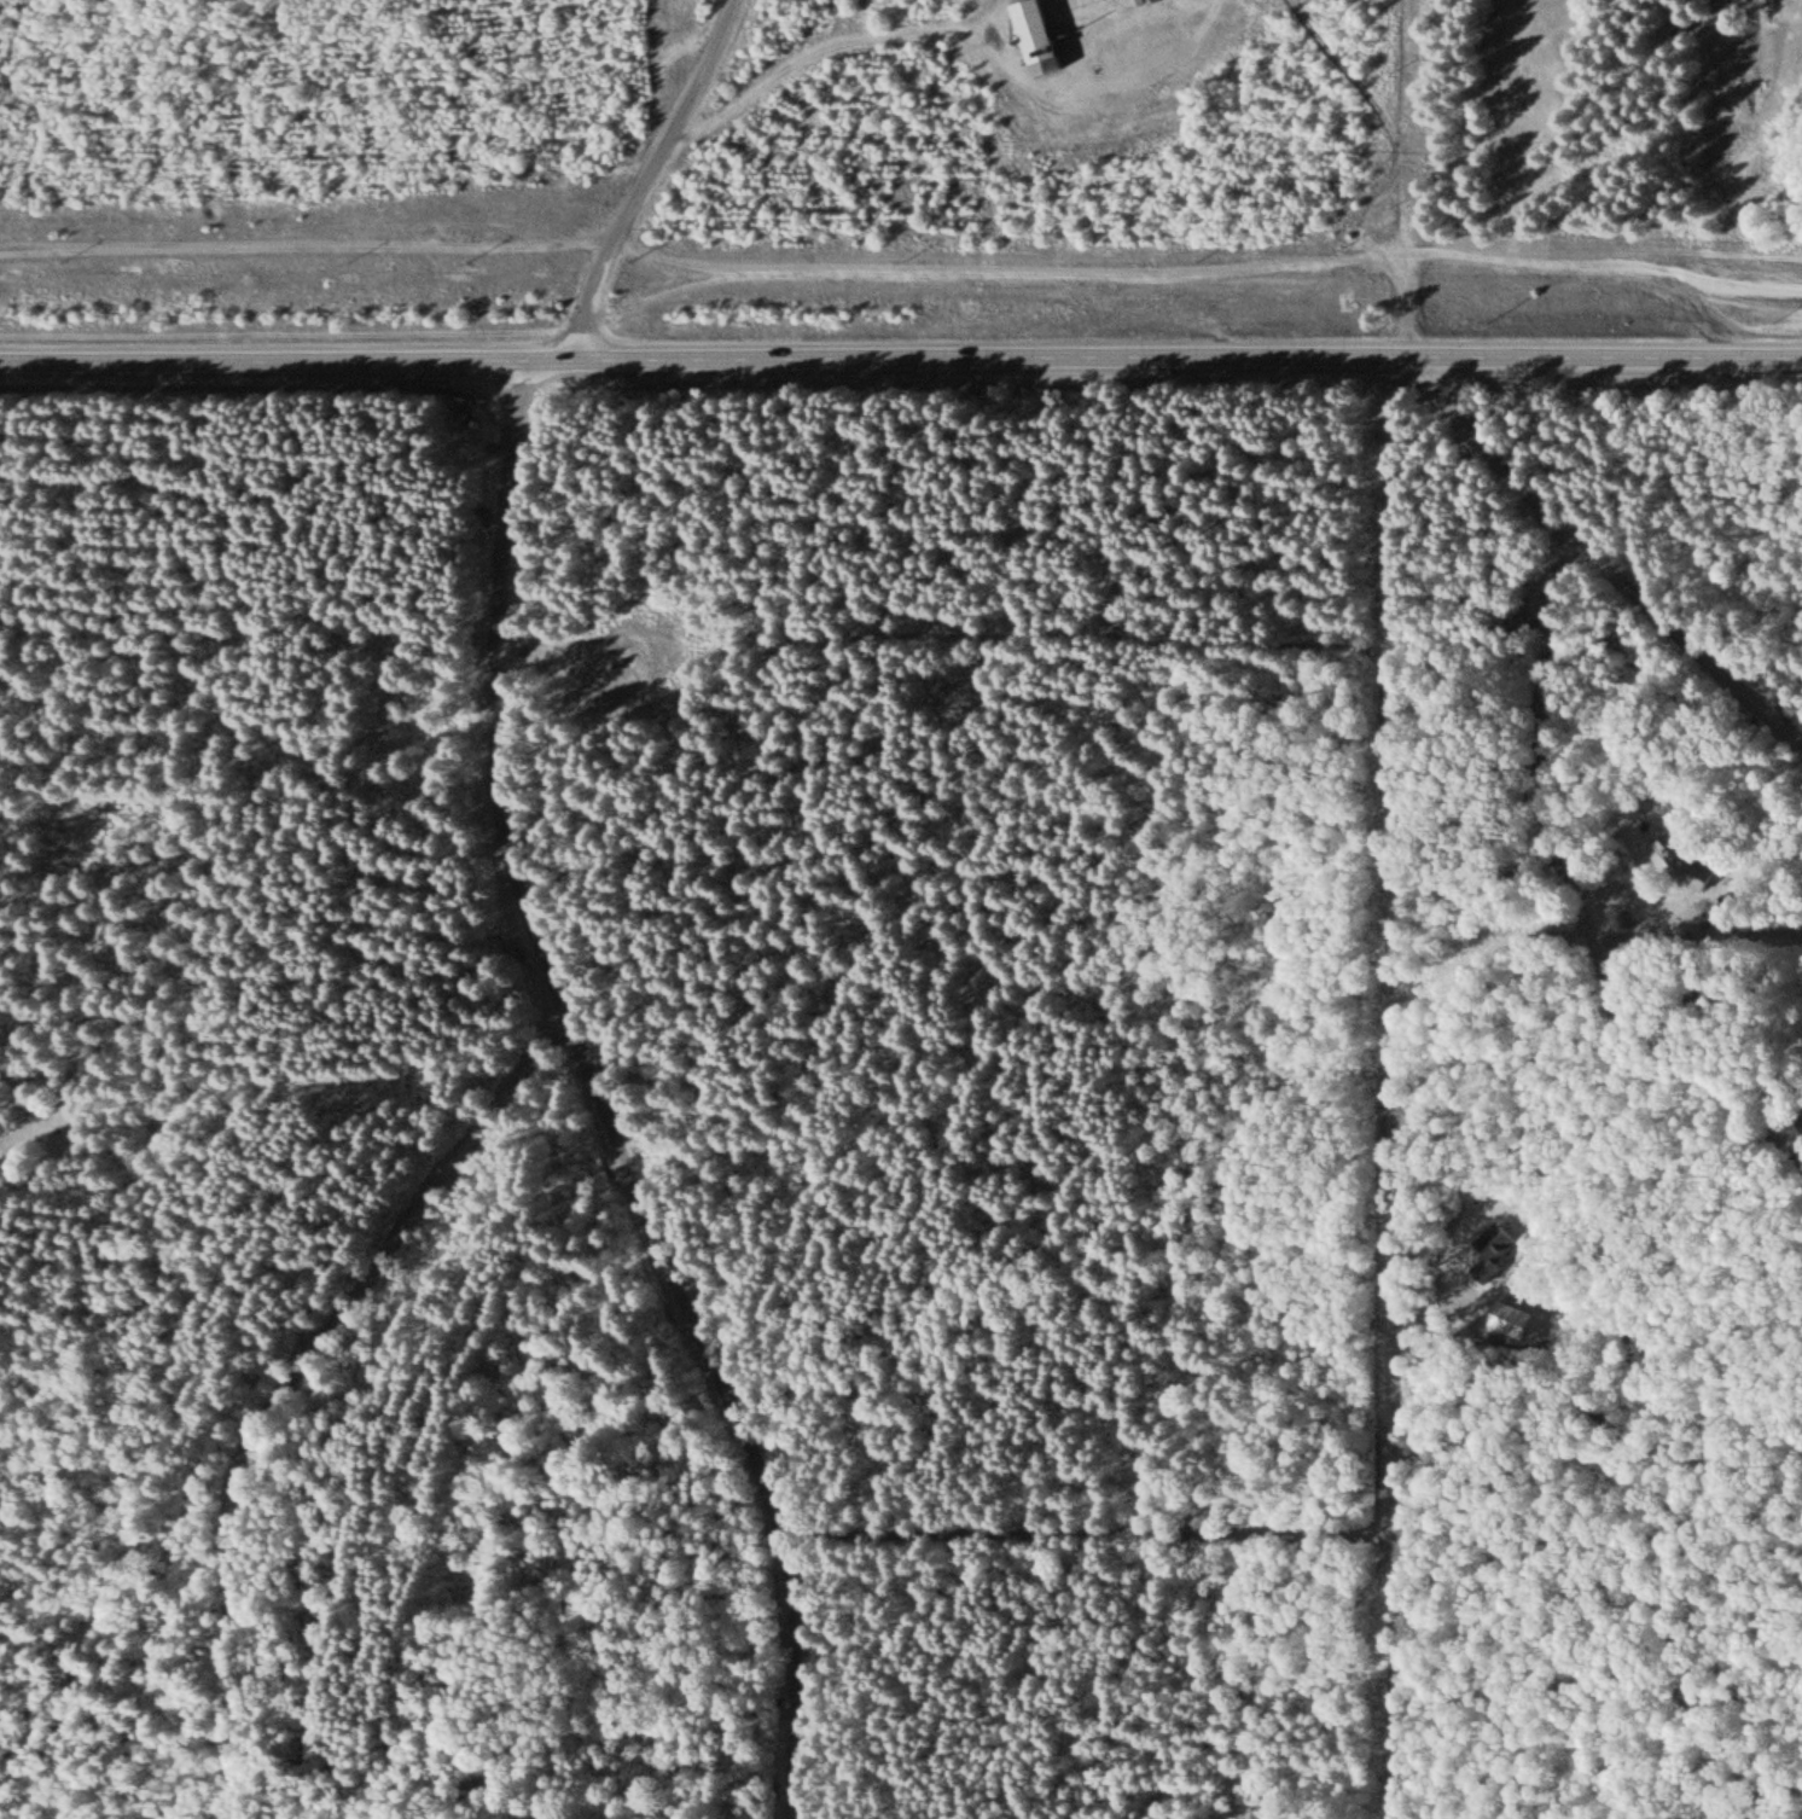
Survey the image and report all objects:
road: (1198, 4)
road: (1211, 4)
building: (1042, 35)
road: (1145, 70)
road: (1406, 181)
road: (1370, 208)
road: (307, 248)
road: (1208, 277)
road: (901, 362)
road: (1600, 562)
petroleum well: (615, 662)
building: (1696, 860)
road: (528, 900)
road: (1400, 1257)
road: (300, 1381)

